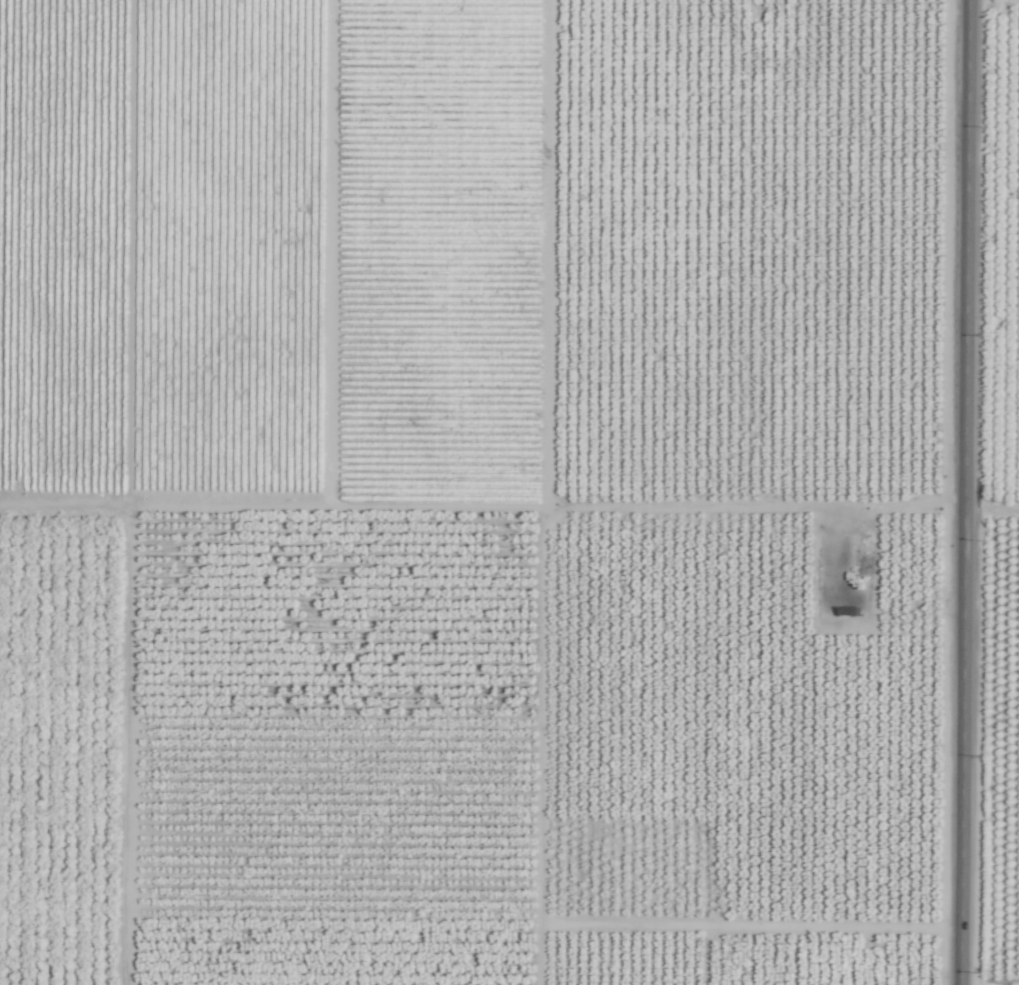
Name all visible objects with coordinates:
road: (965, 492)

